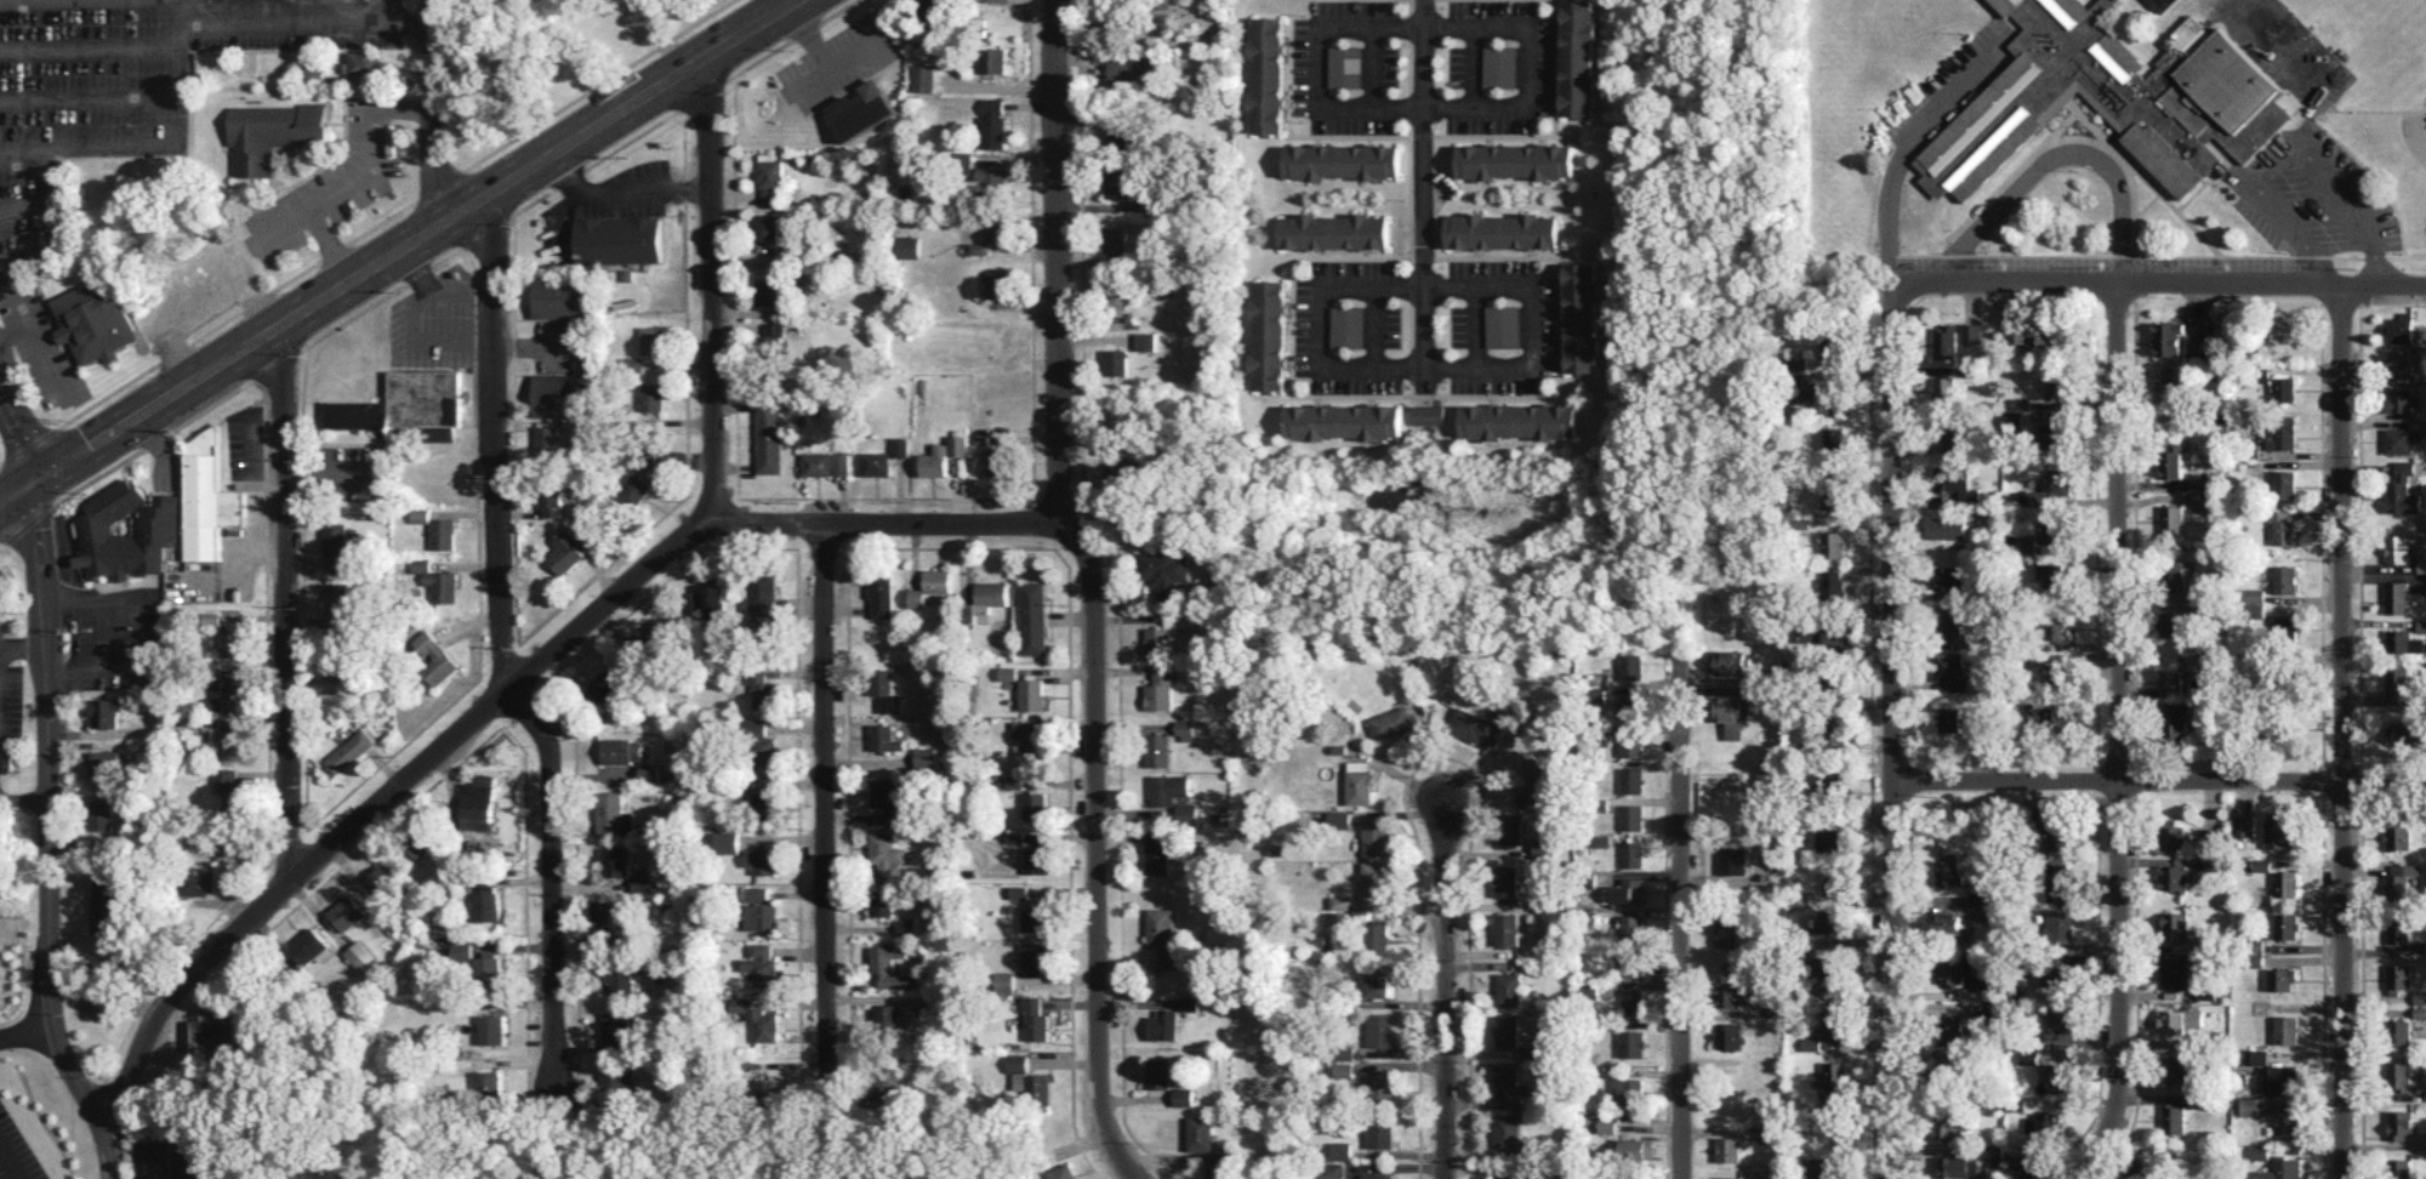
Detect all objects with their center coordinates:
building: (979, 0)
road: (790, 4)
building: (930, 5)
building: (2164, 7)
road: (192, 15)
road: (414, 21)
road: (90, 45)
building: (1579, 57)
building: (993, 59)
road: (1317, 62)
building: (363, 63)
building: (1345, 65)
building: (1502, 65)
road: (1527, 67)
building: (1134, 68)
building: (311, 73)
building: (1266, 74)
building: (923, 76)
parking lot: (1946, 81)
road: (90, 98)
building: (2111, 99)
building: (861, 109)
road: (440, 112)
road: (181, 119)
building: (993, 123)
building: (273, 132)
building: (1118, 132)
road: (2284, 146)
road: (23, 150)
road: (1906, 155)
road: (2058, 158)
building: (1344, 160)
building: (1517, 160)
road: (365, 171)
building: (976, 172)
building: (770, 177)
building: (1118, 181)
road: (1419, 190)
parking lot: (2317, 196)
road: (21, 205)
building: (1151, 205)
building: (768, 226)
building: (995, 228)
building: (1333, 230)
building: (1503, 230)
road: (427, 233)
building: (619, 239)
building: (1114, 239)
road: (331, 244)
building: (907, 246)
building: (979, 247)
road: (2132, 254)
parking lot: (2088, 262)
road: (2300, 275)
building: (997, 281)
road: (2156, 283)
road: (434, 289)
building: (771, 290)
road: (714, 292)
building: (1115, 295)
building: (563, 296)
road: (412, 311)
building: (1581, 317)
building: (93, 320)
road: (32, 324)
building: (1502, 325)
building: (1346, 326)
building: (2401, 327)
road: (16, 329)
building: (1971, 332)
building: (1269, 335)
building: (2034, 335)
building: (2168, 337)
building: (651, 338)
road: (451, 340)
building: (771, 340)
building: (2242, 340)
road: (531, 341)
building: (1944, 341)
building: (1832, 344)
building: (2197, 349)
building: (632, 361)
building: (1115, 361)
building: (2401, 361)
road: (1433, 364)
building: (1977, 370)
building: (2056, 383)
building: (1943, 388)
building: (2284, 388)
building: (2170, 392)
building: (562, 393)
building: (1830, 395)
building: (651, 397)
building: (2402, 398)
building: (427, 400)
building: (1428, 412)
building: (1344, 421)
building: (1517, 421)
road: (24, 431)
building: (2280, 431)
building: (2055, 433)
building: (1953, 439)
building: (2403, 439)
building: (1829, 440)
building: (548, 444)
building: (901, 445)
building: (2254, 449)
building: (944, 455)
building: (648, 456)
building: (2172, 460)
building: (826, 462)
building: (1117, 474)
building: (1952, 477)
building: (2208, 480)
building: (2284, 483)
building: (634, 489)
building: (2046, 489)
road: (27, 490)
building: (2403, 490)
building: (1969, 495)
building: (1832, 496)
building: (209, 497)
building: (551, 497)
building: (2200, 500)
building: (183, 518)
building: (2171, 519)
building: (1946, 526)
building: (2283, 528)
building: (129, 529)
building: (2055, 530)
road: (1891, 540)
building: (1833, 543)
building: (2026, 543)
building: (341, 546)
building: (2398, 548)
building: (2421, 562)
building: (1164, 570)
building: (2174, 574)
building: (2052, 575)
building: (1949, 576)
building: (2285, 577)
building: (4, 580)
building: (438, 581)
building: (930, 586)
building: (1833, 586)
road: (1090, 588)
building: (992, 592)
building: (338, 593)
building: (2255, 594)
building: (881, 596)
building: (2397, 596)
building: (762, 597)
building: (696, 599)
building: (714, 600)
road: (287, 602)
building: (2, 605)
building: (1035, 616)
building: (211, 617)
building: (337, 621)
building: (1949, 622)
building: (2170, 623)
building: (2285, 625)
building: (2421, 625)
building: (2056, 626)
road: (141, 631)
road: (102, 634)
building: (1836, 634)
parking lot: (116, 637)
building: (233, 639)
building: (2404, 640)
road: (19, 645)
building: (434, 657)
road: (503, 665)
building: (1631, 666)
building: (1951, 670)
building: (1009, 672)
building: (2057, 676)
building: (758, 679)
building: (2397, 679)
building: (881, 680)
building: (2170, 680)
building: (233, 682)
building: (605, 683)
building: (1033, 693)
building: (1596, 695)
road: (497, 700)
building: (212, 704)
building: (1630, 706)
building: (106, 711)
building: (1730, 714)
building: (2057, 717)
building: (1951, 718)
building: (1393, 722)
building: (2174, 722)
building: (1476, 725)
building: (1839, 728)
building: (1185, 729)
road: (2341, 730)
building: (2403, 733)
road: (2118, 735)
building: (884, 736)
building: (761, 741)
building: (1029, 741)
building: (233, 742)
building: (1631, 742)
building: (621, 750)
building: (1158, 750)
building: (348, 751)
building: (104, 761)
building: (1536, 776)
building: (1631, 779)
building: (1015, 780)
road: (2158, 780)
building: (1359, 782)
building: (1168, 787)
building: (230, 788)
building: (887, 794)
road: (21, 798)
building: (478, 804)
building: (1036, 804)
building: (1186, 813)
building: (101, 814)
building: (614, 814)
building: (884, 816)
building: (1631, 816)
road: (825, 819)
building: (1339, 819)
building: (2244, 825)
building: (1510, 827)
building: (2279, 830)
building: (2060, 833)
building: (1377, 836)
building: (2174, 836)
building: (2210, 837)
building: (2398, 837)
road: (45, 838)
building: (1601, 839)
building: (1832, 839)
building: (727, 841)
building: (422, 847)
building: (1157, 850)
building: (1633, 853)
building: (887, 856)
building: (615, 860)
building: (762, 860)
building: (2211, 864)
building: (2262, 864)
building: (1949, 868)
building: (2176, 877)
building: (385, 878)
building: (2402, 878)
building: (1835, 879)
building: (1376, 881)
building: (2058, 881)
building: (642, 883)
building: (2287, 883)
building: (1629, 890)
building: (759, 893)
building: (1980, 896)
building: (1339, 901)
building: (882, 902)
building: (486, 905)
building: (346, 912)
building: (762, 916)
building: (1036, 917)
building: (611, 919)
road: (1680, 919)
building: (1832, 921)
building: (1947, 924)
building: (2060, 924)
building: (2285, 924)
building: (2175, 925)
building: (1633, 927)
building: (2398, 928)
building: (1726, 930)
building: (1376, 936)
building: (311, 944)
building: (357, 951)
building: (459, 952)
building: (1036, 956)
building: (1630, 961)
building: (763, 964)
building: (892, 966)
road: (1443, 967)
building: (1832, 968)
building: (488, 969)
building: (1949, 969)
building: (2055, 972)
building: (2176, 972)
building: (2398, 978)
road: (1891, 979)
building: (2282, 979)
building: (1377, 980)
building: (1004, 981)
building: (1589, 990)
building: (1729, 995)
building: (2420, 996)
building: (1633, 1001)
building: (99, 1003)
building: (1189, 1003)
building: (2420, 1010)
building: (1035, 1018)
building: (759, 1019)
building: (2180, 1020)
building: (2061, 1021)
building: (1834, 1023)
building: (1949, 1026)
building: (491, 1029)
building: (1380, 1030)
building: (1507, 1030)
building: (616, 1031)
building: (2399, 1031)
road: (28, 1033)
building: (1729, 1035)
building: (1631, 1043)
building: (2028, 1054)
building: (2260, 1056)
building: (1018, 1061)
building: (1343, 1067)
building: (1947, 1067)
building: (2175, 1067)
building: (1835, 1073)
building: (2398, 1075)
building: (2061, 1077)
building: (2282, 1078)
building: (1020, 1080)
building: (1507, 1082)
building: (1038, 1088)
building: (1380, 1088)
building: (768, 1089)
building: (1627, 1089)
building: (1829, 1103)
building: (2249, 1105)
building: (2172, 1117)
building: (1951, 1118)
building: (2287, 1122)
building: (2401, 1123)
building: (2044, 1124)
building: (1606, 1126)
building: (1380, 1129)
building: (1636, 1147)
building: (1727, 1149)
building: (1340, 1150)
building: (2260, 1151)
building: (1991, 1155)
road: (11, 1161)
building: (2028, 1162)
building: (1958, 1164)
road: (138, 1167)
building: (1826, 1167)
building: (2401, 1168)
building: (1333, 1169)
building: (2283, 1169)
building: (1063, 1172)
building: (1218, 1172)
building: (1377, 1175)
building: (1505, 1177)
building: (1730, 1177)
building: (2028, 1178)

